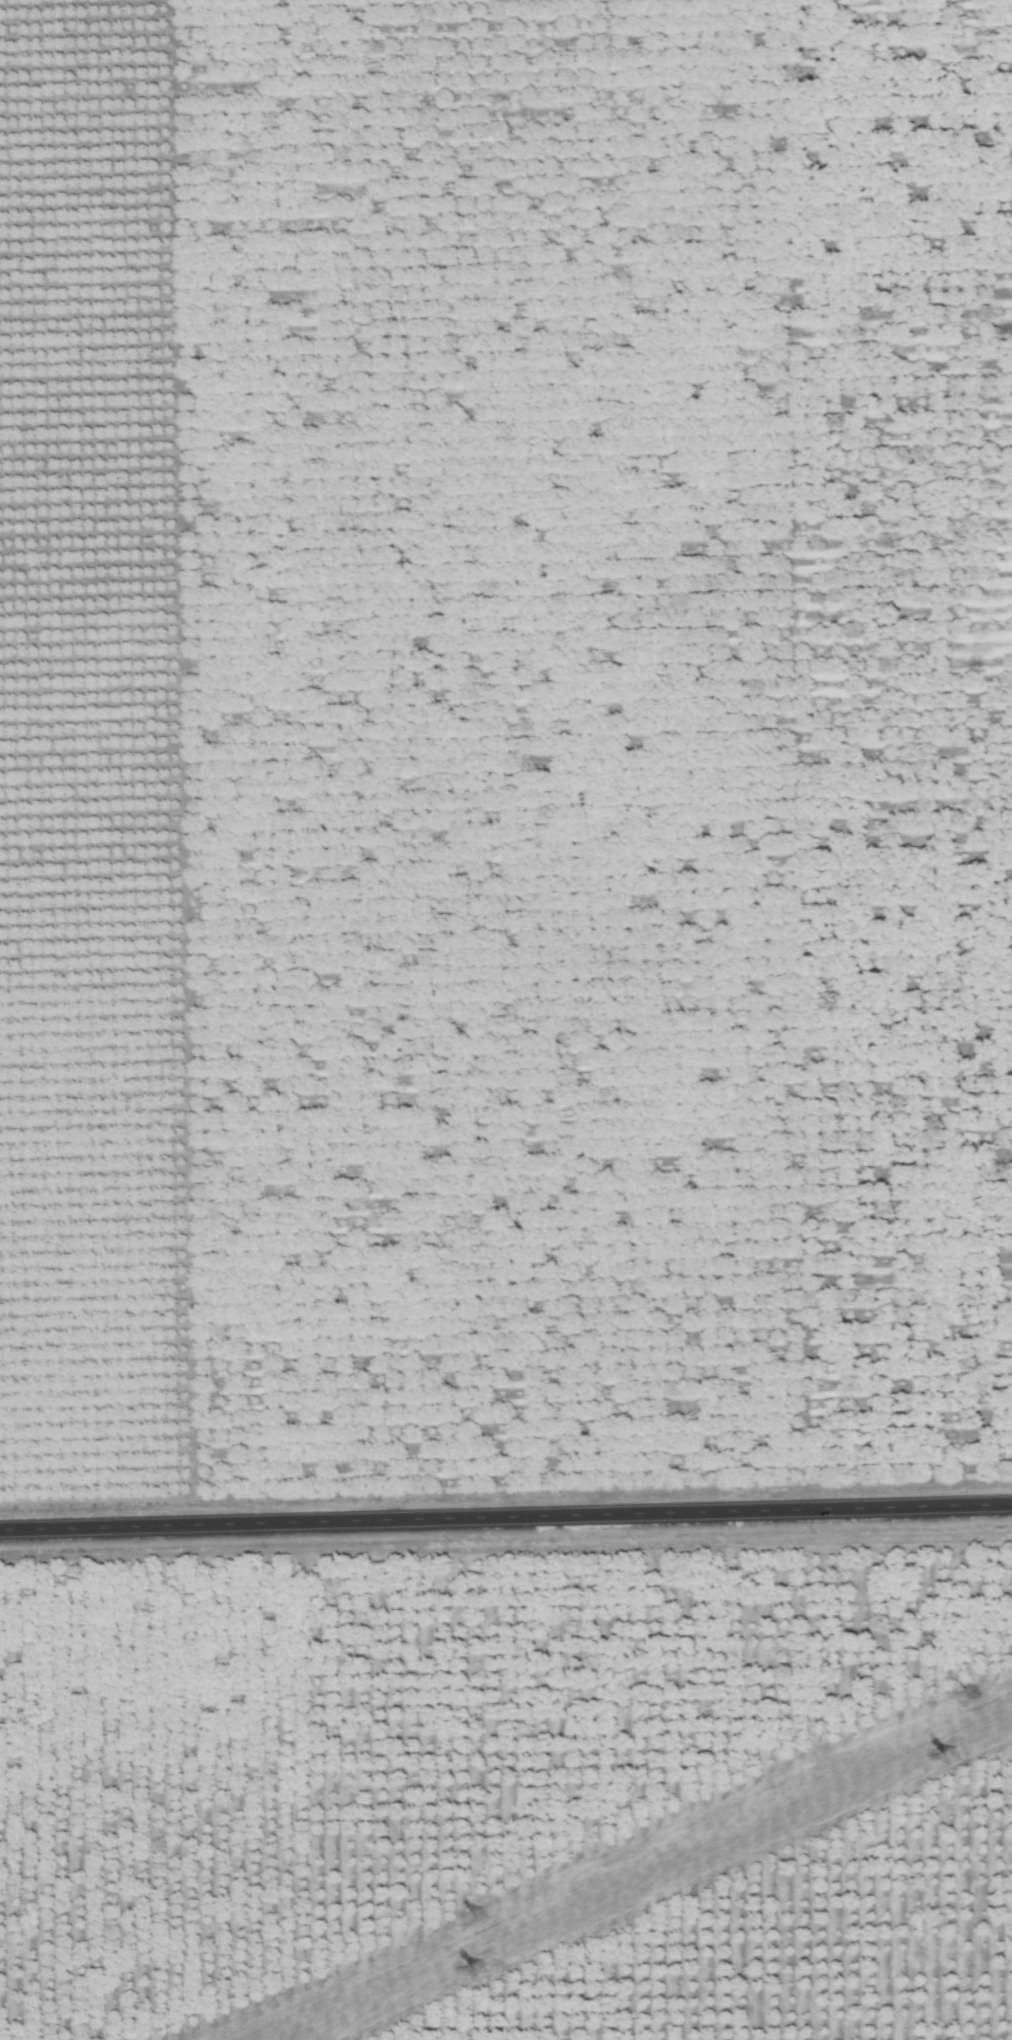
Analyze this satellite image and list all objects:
road: (506, 1521)
power tower: (972, 1696)
power tower: (951, 1757)
power tower: (476, 1919)
power tower: (477, 1970)

